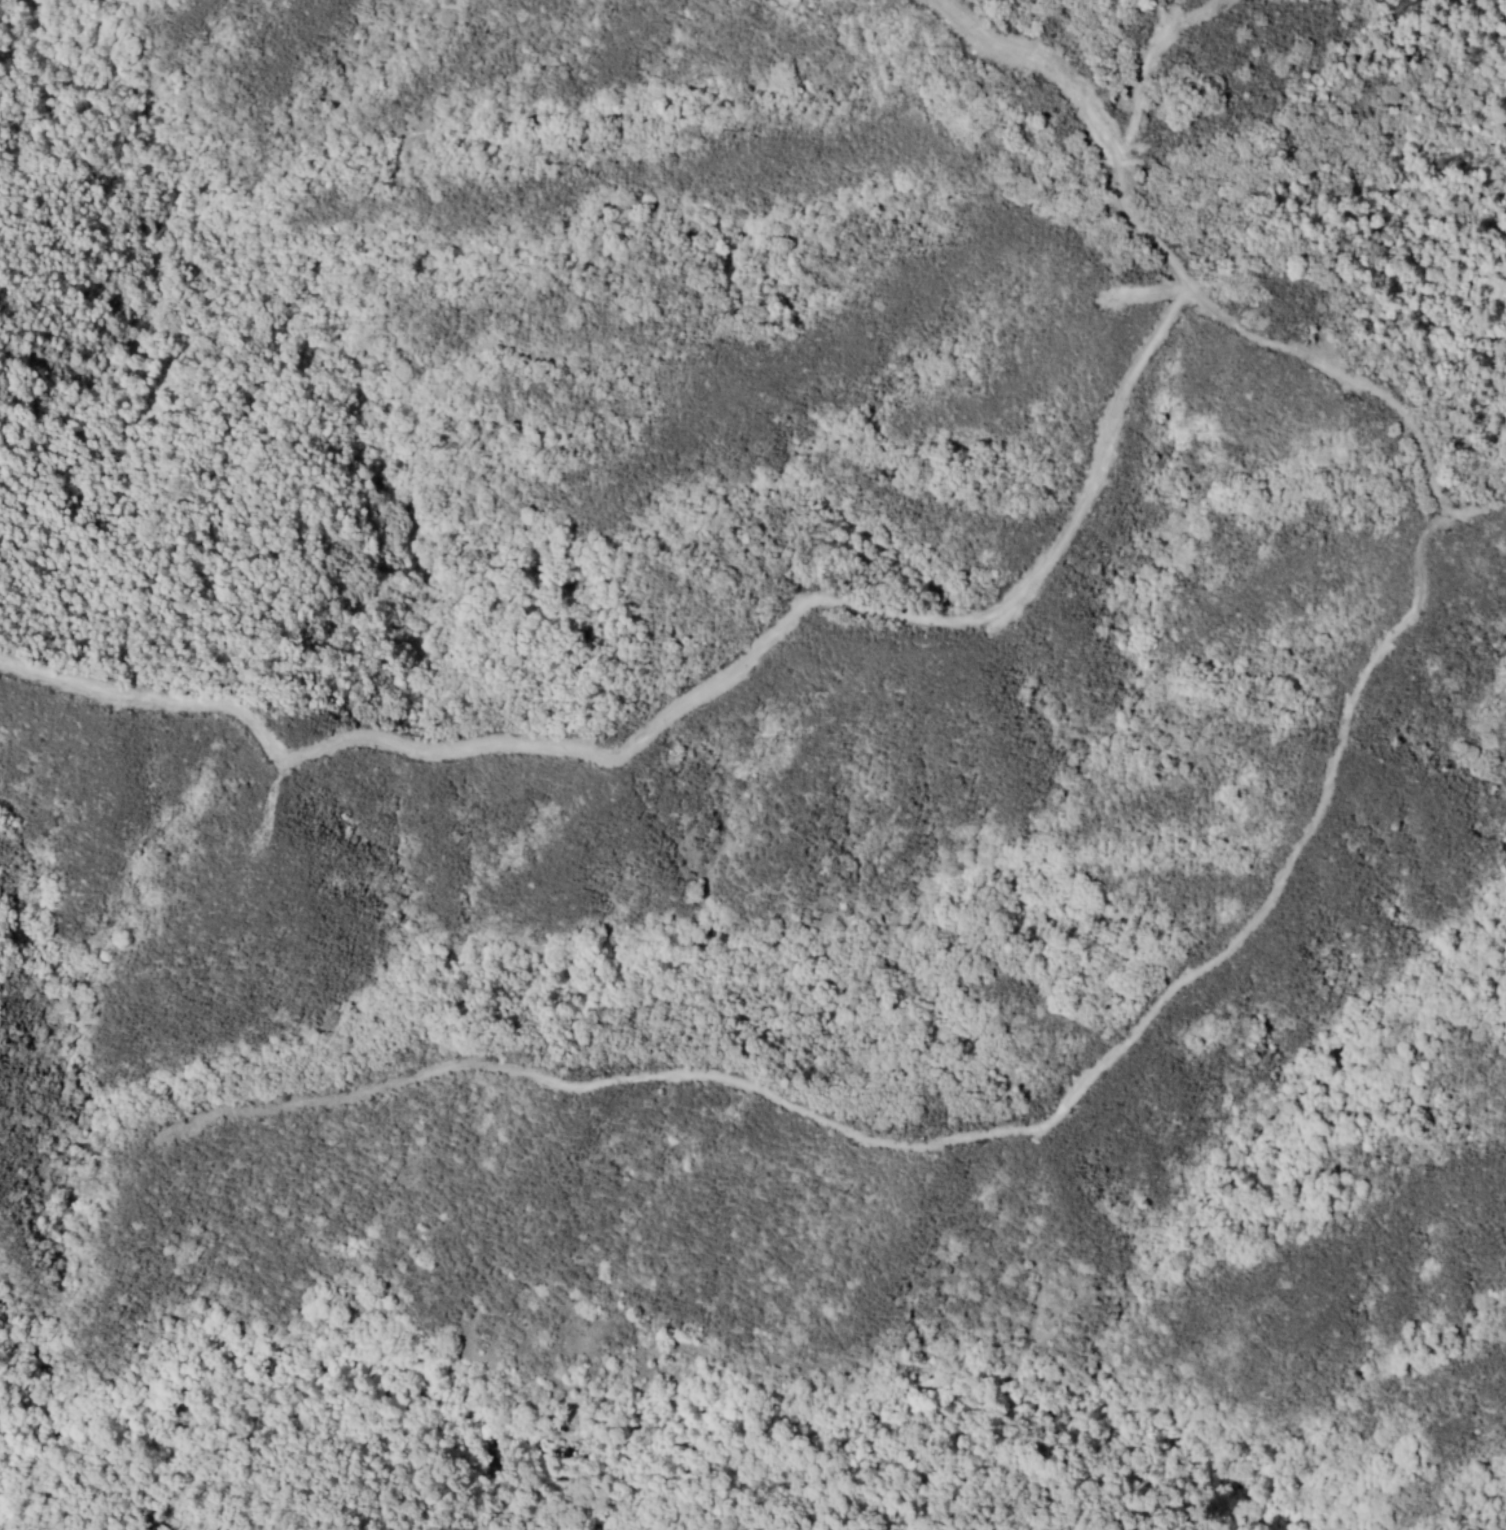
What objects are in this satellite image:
road: (1101, 125)
road: (1383, 396)
road: (687, 699)

